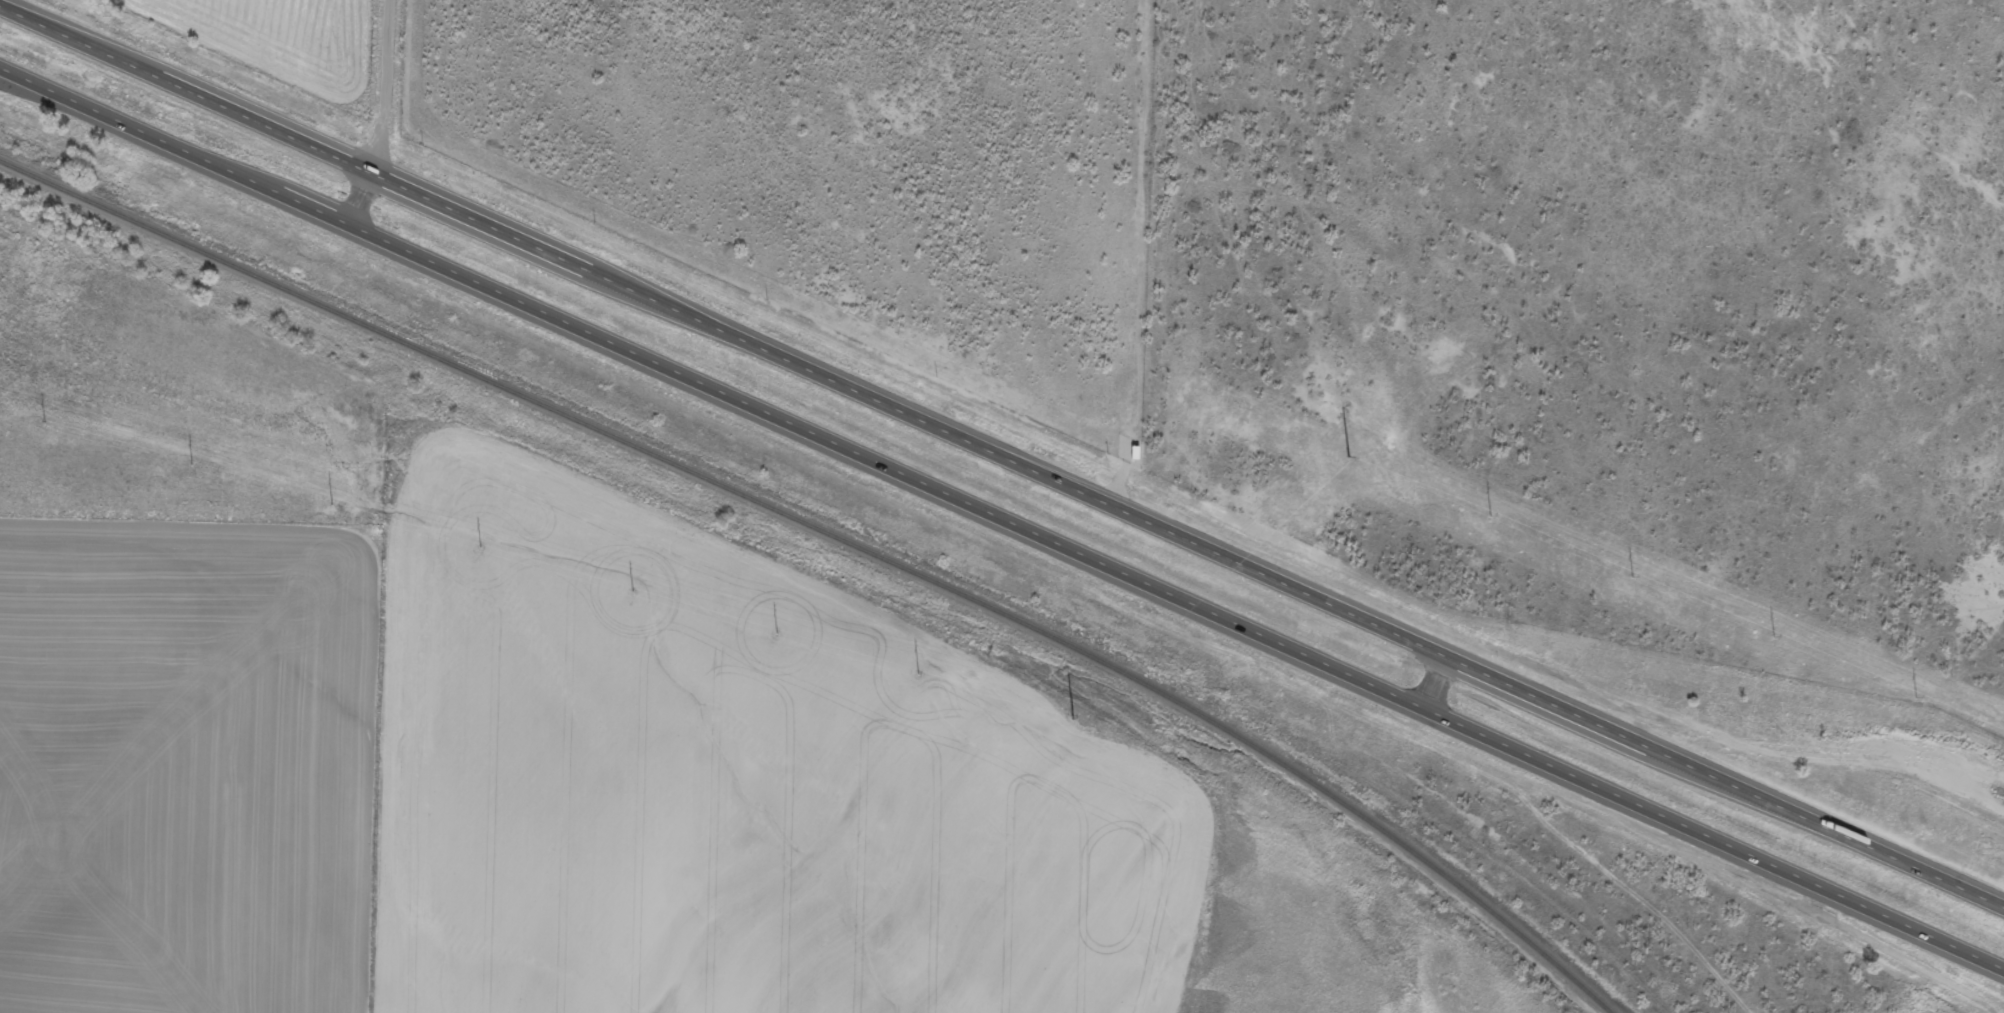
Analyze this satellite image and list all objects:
road: (386, 116)
road: (707, 387)
road: (1002, 453)
railway: (834, 536)
road: (1426, 678)
road: (1710, 837)
road: (1584, 854)

